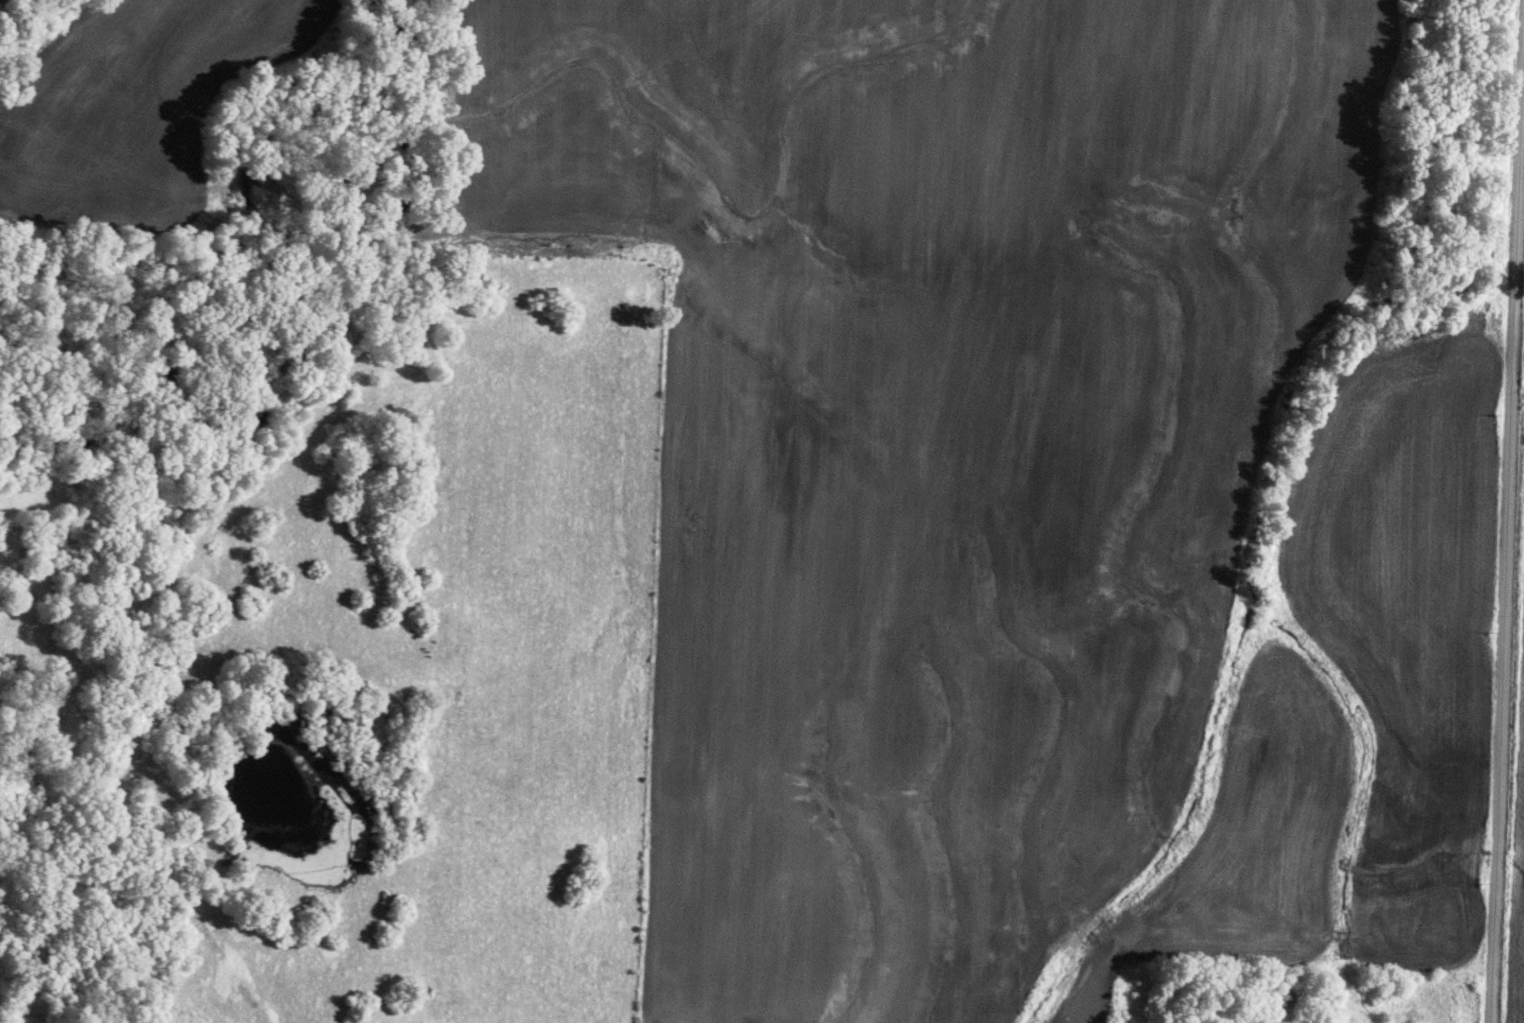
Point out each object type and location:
road: (1506, 575)

